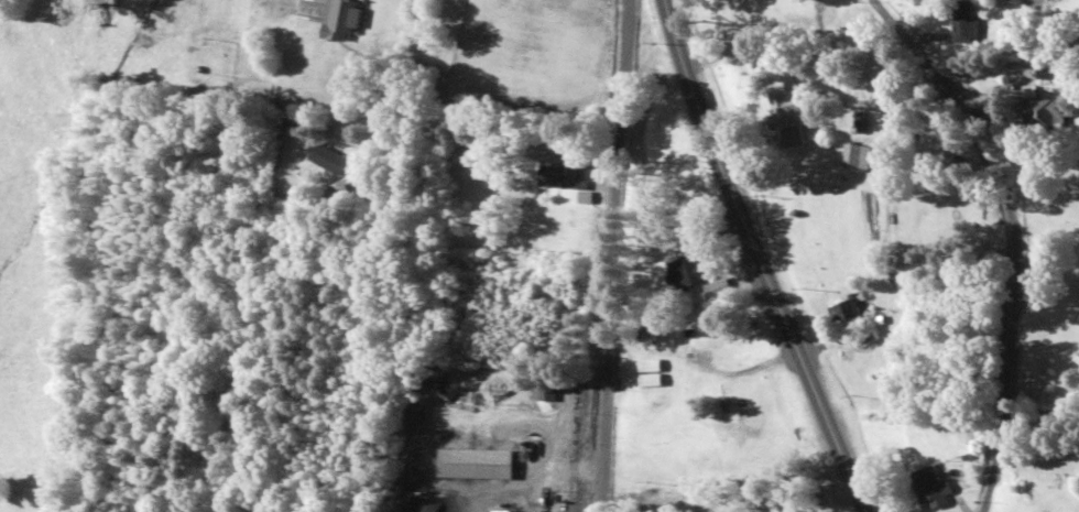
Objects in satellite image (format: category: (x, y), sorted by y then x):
building: (341, 19)
building: (971, 24)
building: (1055, 111)
building: (793, 118)
building: (863, 156)
building: (336, 160)
building: (560, 172)
road: (206, 176)
road: (1013, 238)
road: (604, 255)
road: (752, 257)
building: (690, 272)
building: (855, 317)
road: (396, 351)
building: (649, 377)
road: (1039, 416)
road: (195, 433)
building: (481, 465)
building: (930, 489)

